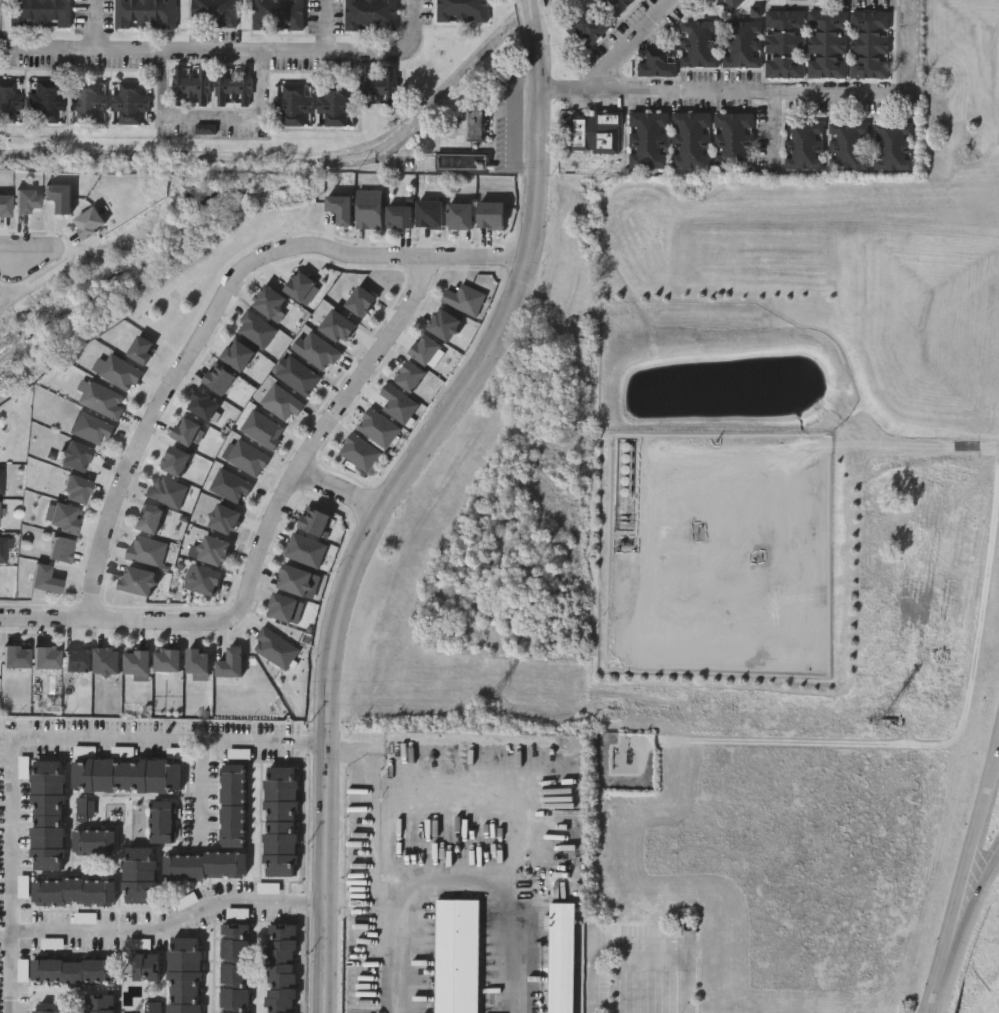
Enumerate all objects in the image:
building: (727, 5)
building: (615, 6)
building: (461, 10)
building: (39, 12)
building: (213, 12)
building: (144, 13)
building: (370, 13)
building: (276, 14)
road: (529, 15)
road: (94, 25)
road: (325, 25)
building: (588, 25)
building: (699, 41)
road: (629, 42)
building: (741, 42)
building: (784, 42)
building: (826, 42)
building: (868, 42)
road: (226, 50)
road: (533, 58)
building: (656, 61)
building: (190, 82)
building: (231, 83)
building: (377, 84)
road: (768, 95)
building: (8, 100)
building: (45, 100)
building: (87, 100)
building: (129, 101)
building: (292, 101)
building: (334, 102)
road: (209, 118)
building: (475, 119)
building: (596, 131)
building: (647, 138)
building: (689, 139)
building: (732, 139)
building: (803, 145)
building: (846, 145)
building: (888, 145)
building: (461, 160)
building: (59, 196)
building: (26, 199)
building: (4, 204)
building: (459, 214)
building: (398, 215)
building: (88, 221)
road: (18, 246)
road: (409, 258)
building: (298, 285)
building: (267, 300)
building: (359, 300)
building: (443, 323)
building: (337, 325)
building: (254, 328)
building: (141, 348)
building: (424, 348)
building: (317, 350)
building: (236, 353)
building: (116, 370)
building: (296, 374)
building: (409, 374)
building: (102, 398)
building: (280, 401)
building: (396, 402)
road: (154, 407)
building: (89, 426)
building: (376, 426)
building: (186, 430)
road: (324, 431)
road: (989, 442)
road: (967, 443)
road: (797, 448)
building: (74, 455)
building: (246, 457)
building: (175, 459)
building: (1, 479)
building: (229, 485)
building: (76, 489)
building: (164, 490)
road: (341, 492)
building: (0, 517)
building: (64, 517)
building: (148, 517)
building: (223, 518)
road: (373, 533)
building: (3, 548)
building: (60, 549)
building: (213, 549)
building: (46, 577)
building: (136, 579)
building: (205, 579)
road: (120, 620)
building: (273, 646)
building: (45, 656)
building: (106, 659)
building: (167, 659)
building: (136, 661)
power tower: (53, 705)
power tower: (482, 714)
power tower: (880, 721)
road: (37, 738)
building: (127, 775)
road: (199, 780)
building: (232, 805)
building: (83, 809)
building: (46, 814)
building: (162, 820)
building: (280, 821)
building: (94, 841)
building: (205, 865)
road: (376, 869)
building: (140, 874)
road: (969, 881)
building: (74, 891)
road: (969, 920)
road: (170, 926)
road: (640, 948)
building: (457, 955)
building: (563, 957)
building: (146, 966)
building: (234, 968)
building: (280, 968)
building: (71, 970)
building: (183, 974)
building: (98, 1003)
building: (150, 1006)
building: (47, 1008)

